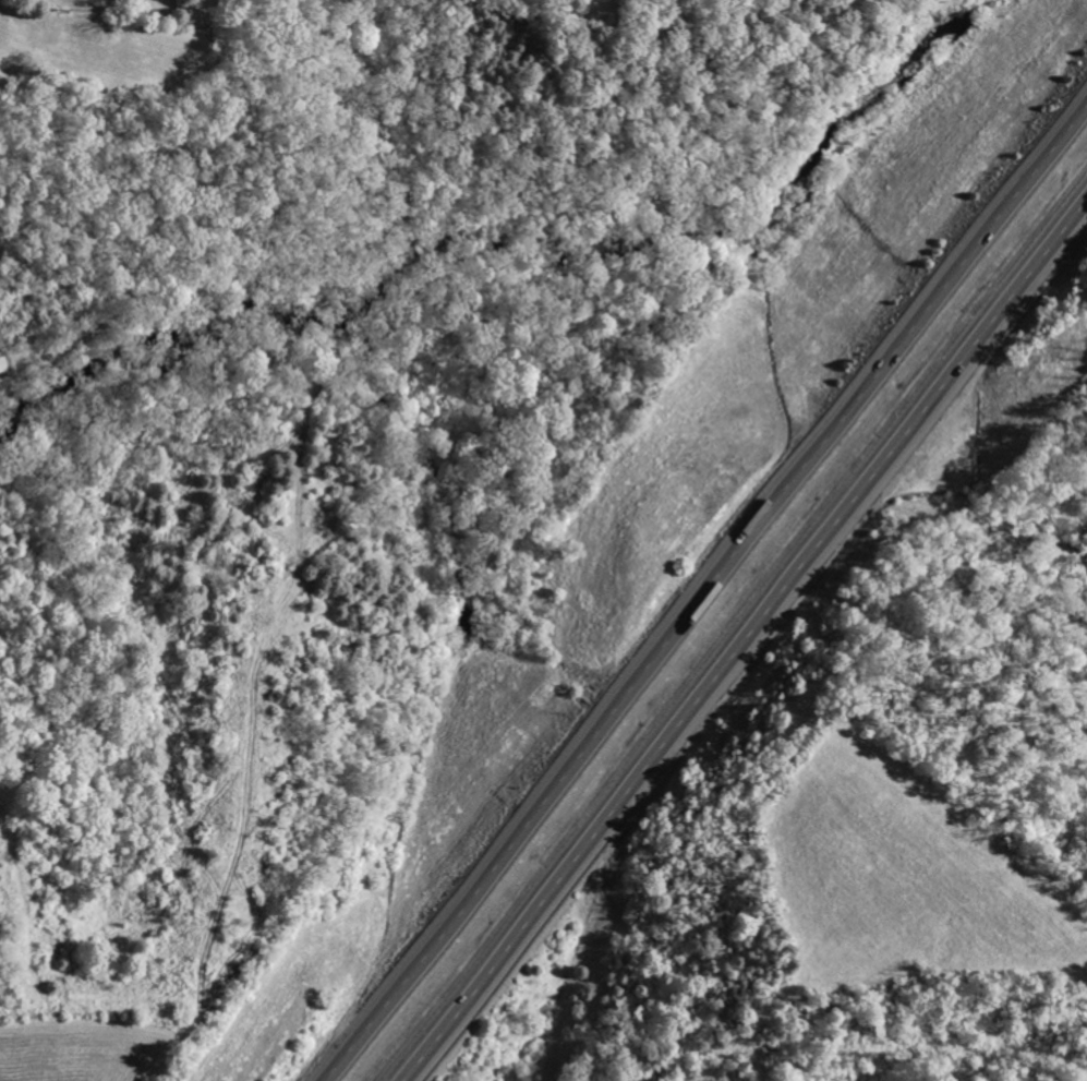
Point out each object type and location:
road: (709, 594)
road: (749, 658)

